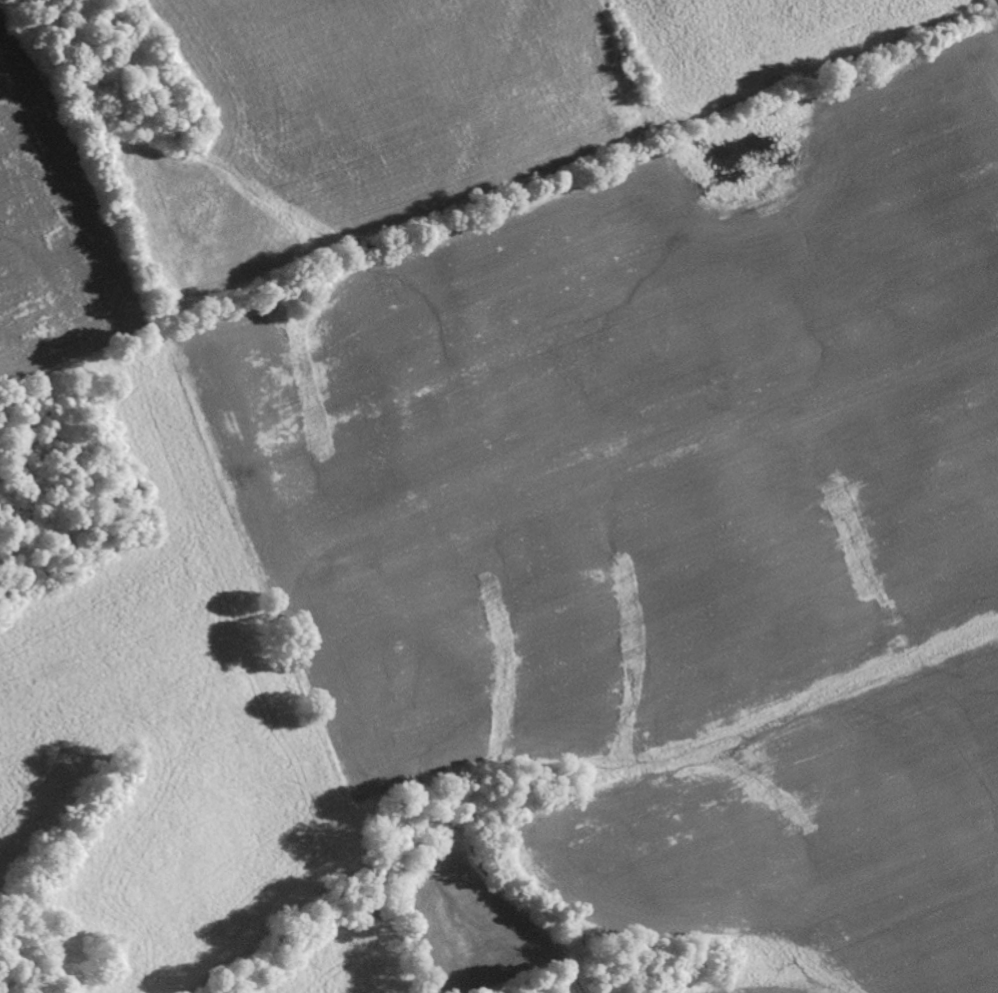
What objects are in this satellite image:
road: (997, 0)

